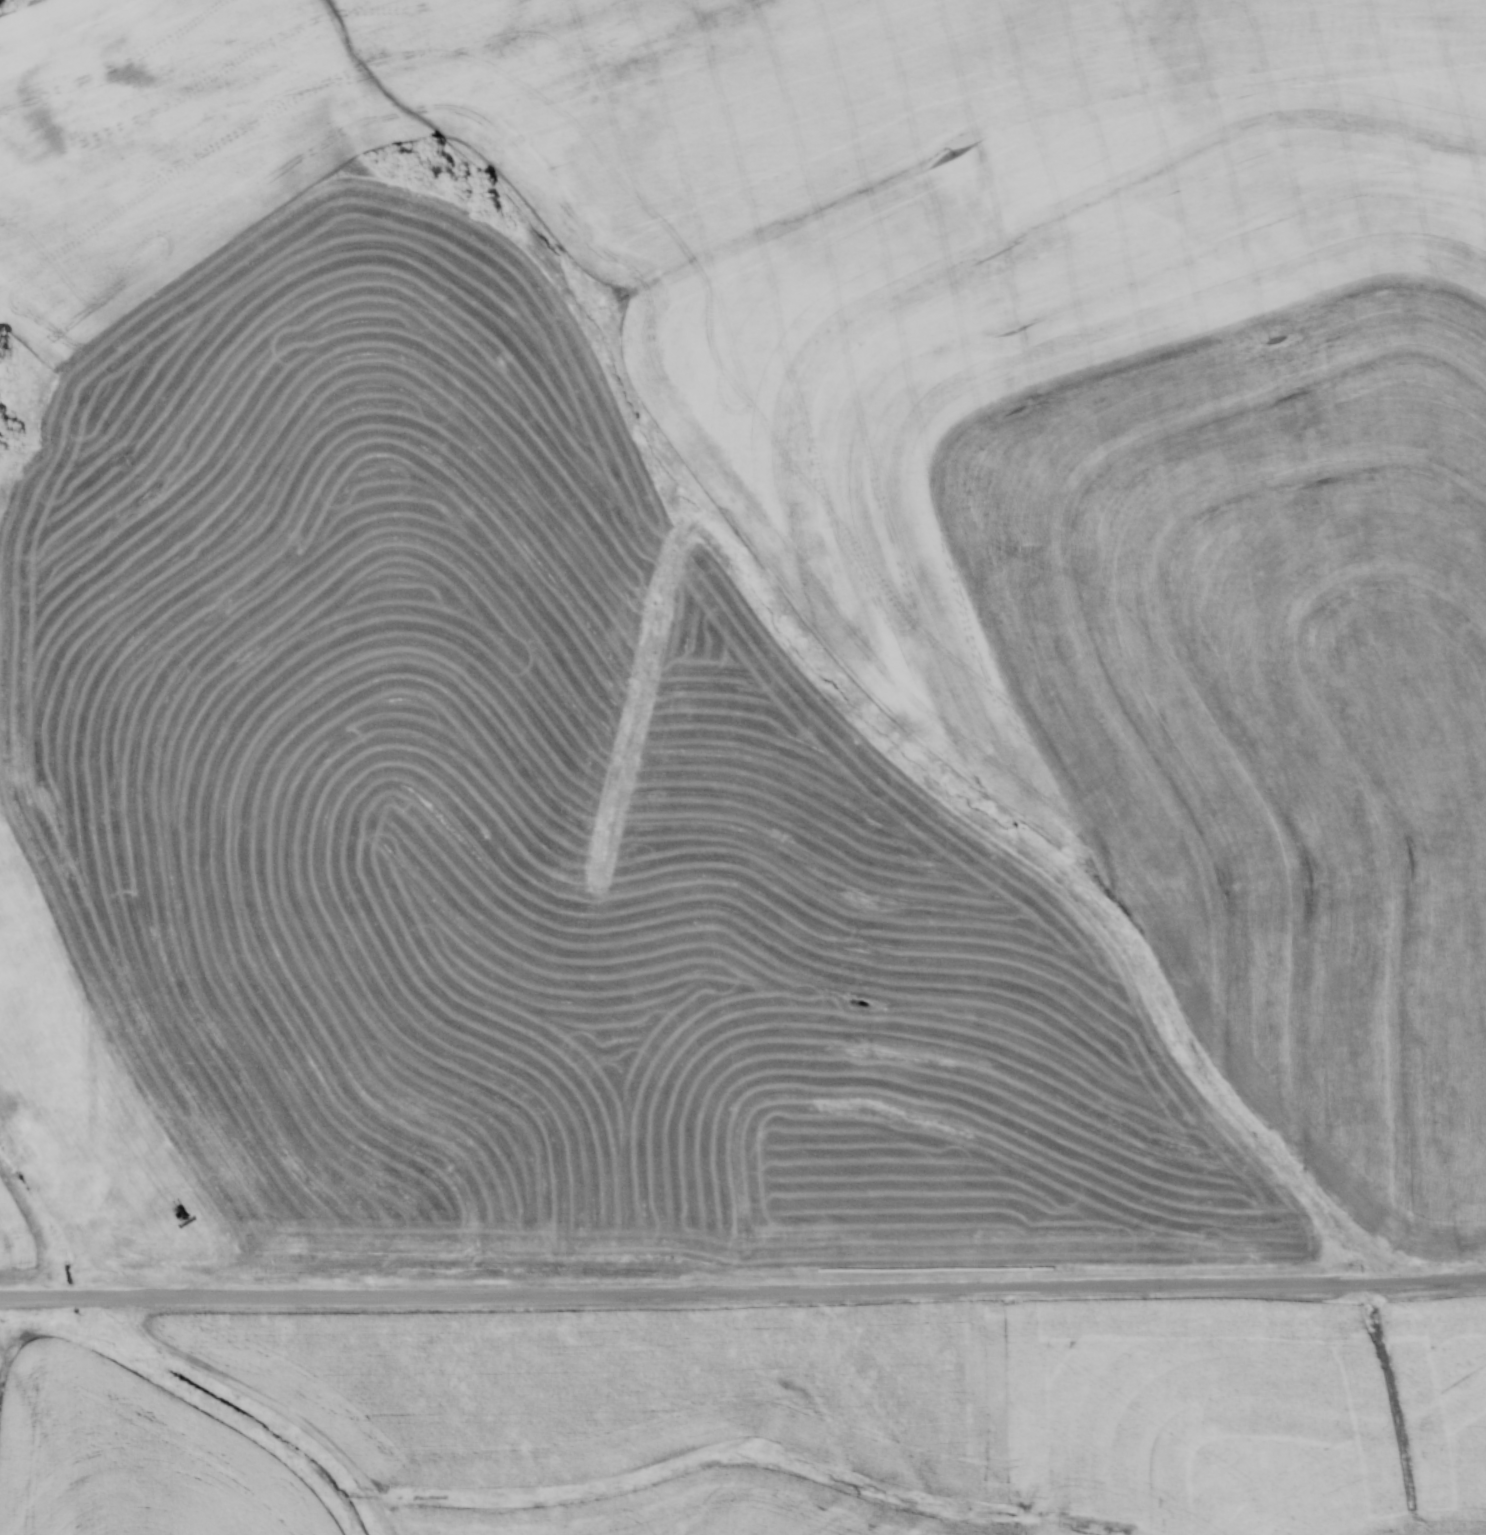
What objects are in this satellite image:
road: (743, 1296)
road: (44, 1440)

